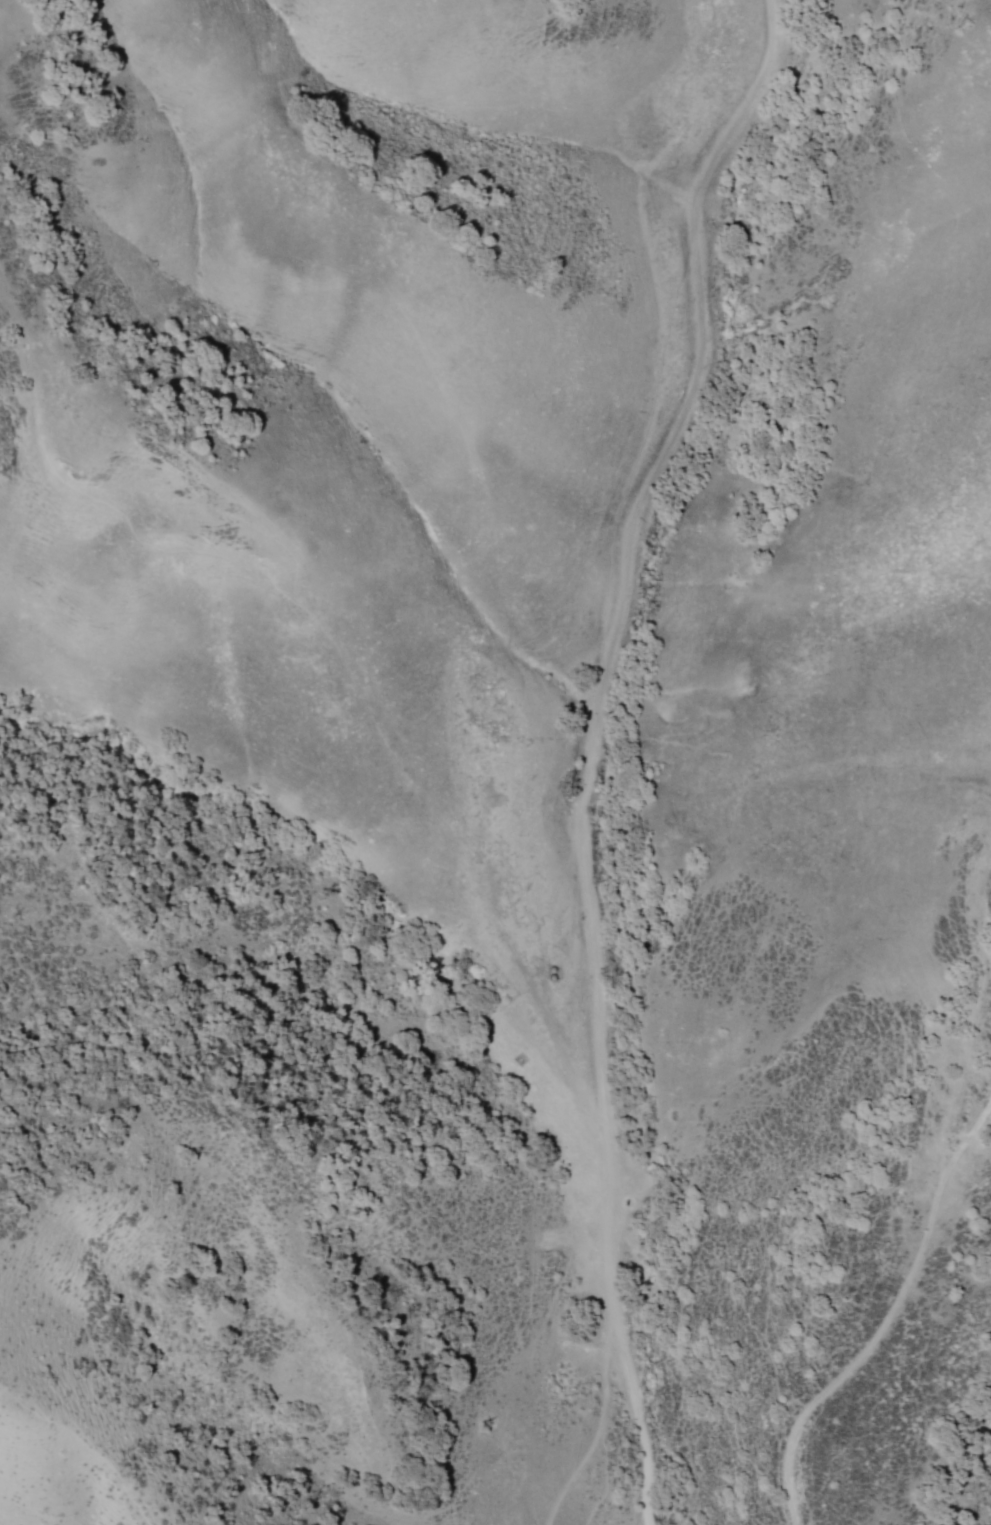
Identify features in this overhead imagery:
road: (596, 748)
road: (934, 1198)
road: (592, 1473)

